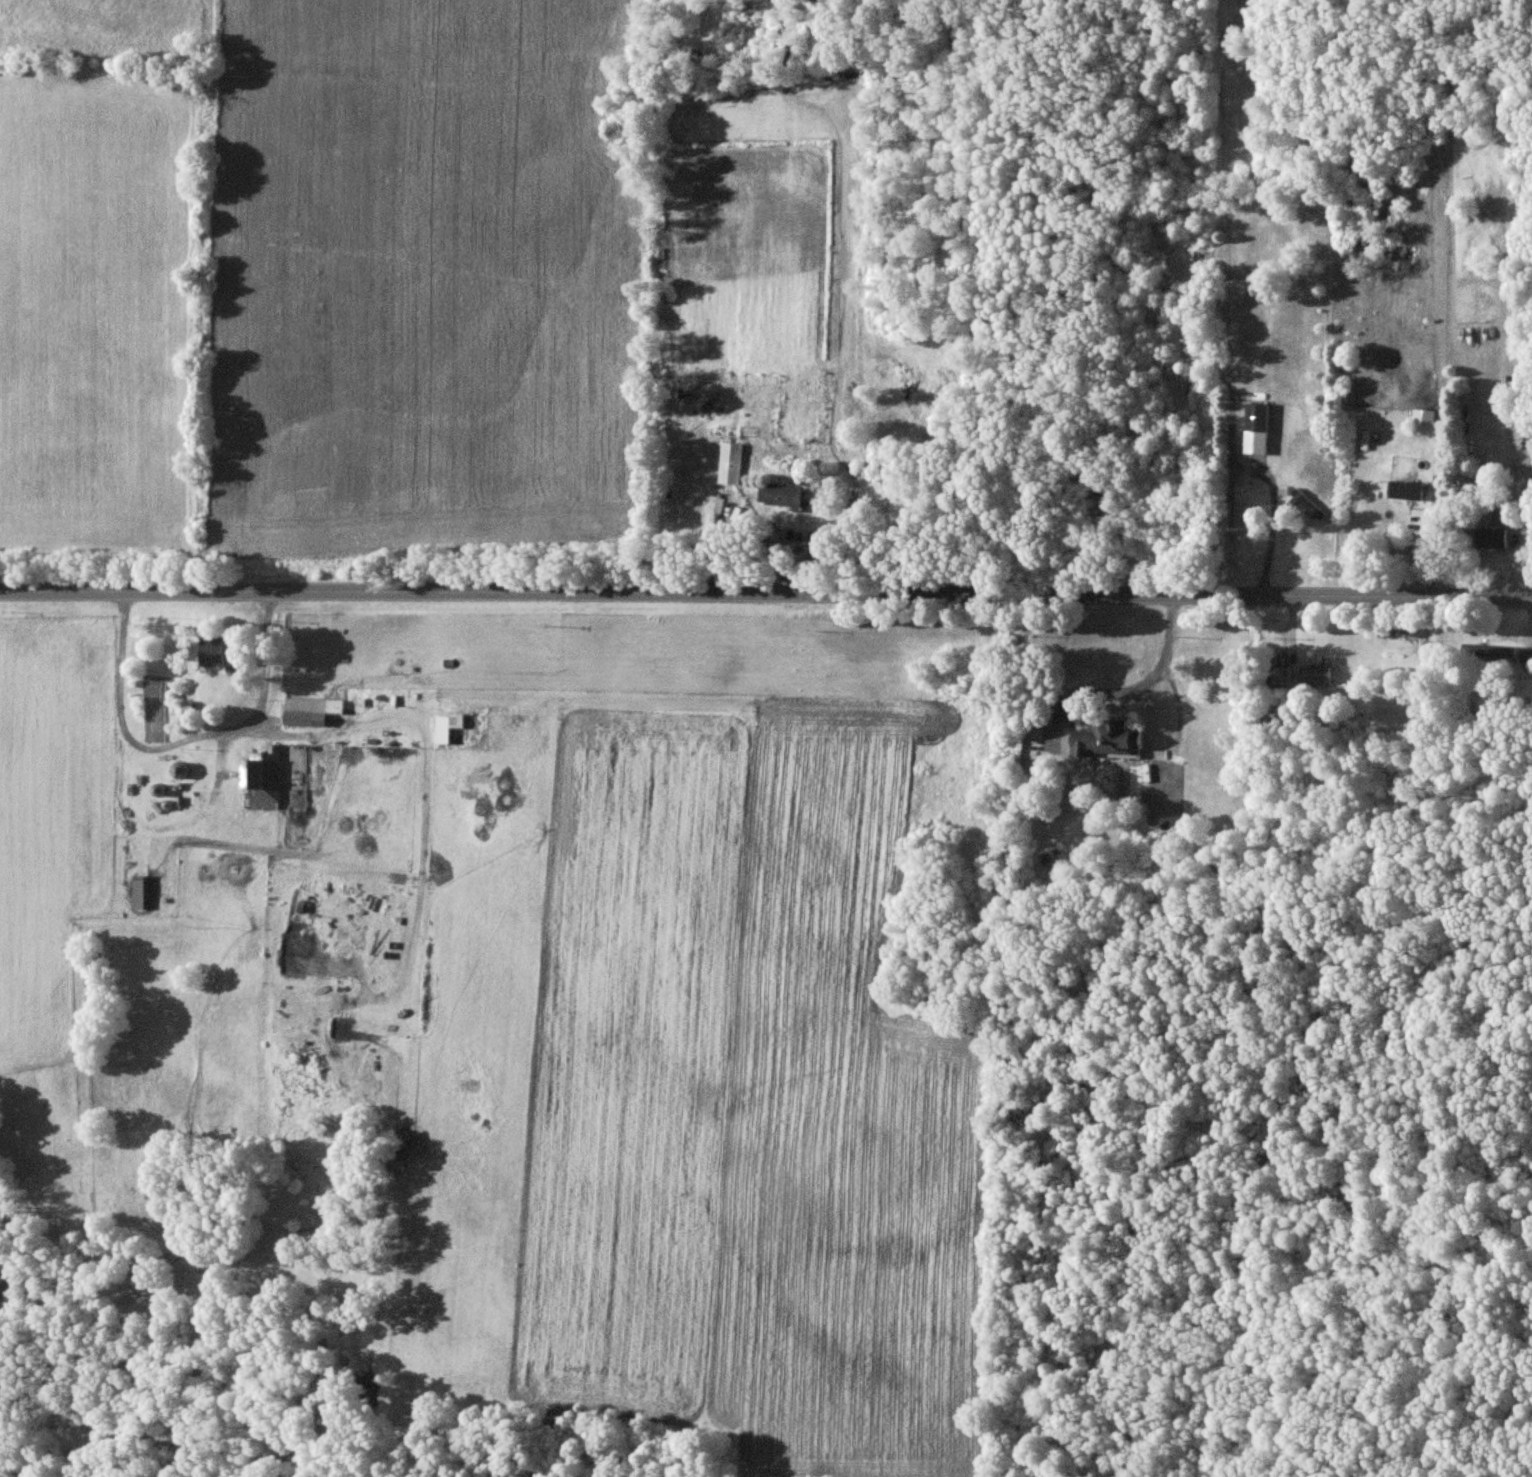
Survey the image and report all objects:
building: (699, 401)
building: (1425, 422)
building: (1522, 424)
building: (1255, 428)
building: (730, 463)
building: (1405, 491)
building: (781, 495)
building: (1303, 504)
road: (750, 516)
building: (1490, 538)
road: (765, 595)
building: (223, 651)
building: (1487, 651)
building: (1525, 658)
building: (1313, 675)
road: (1146, 679)
building: (305, 712)
building: (1109, 737)
building: (1018, 750)
building: (260, 780)

